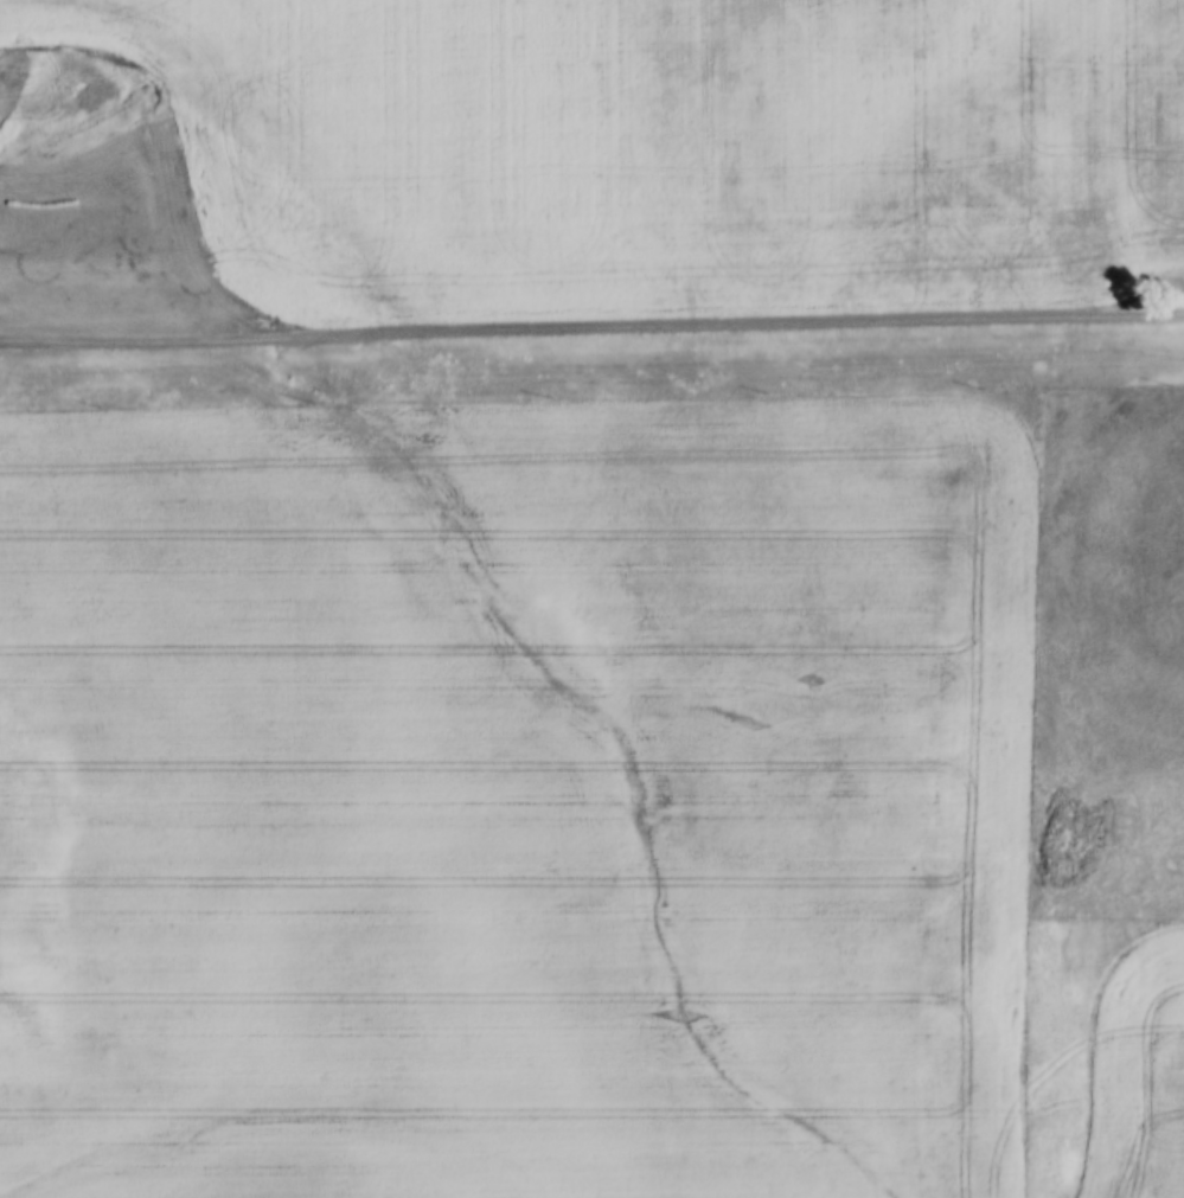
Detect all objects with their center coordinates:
road: (591, 326)

